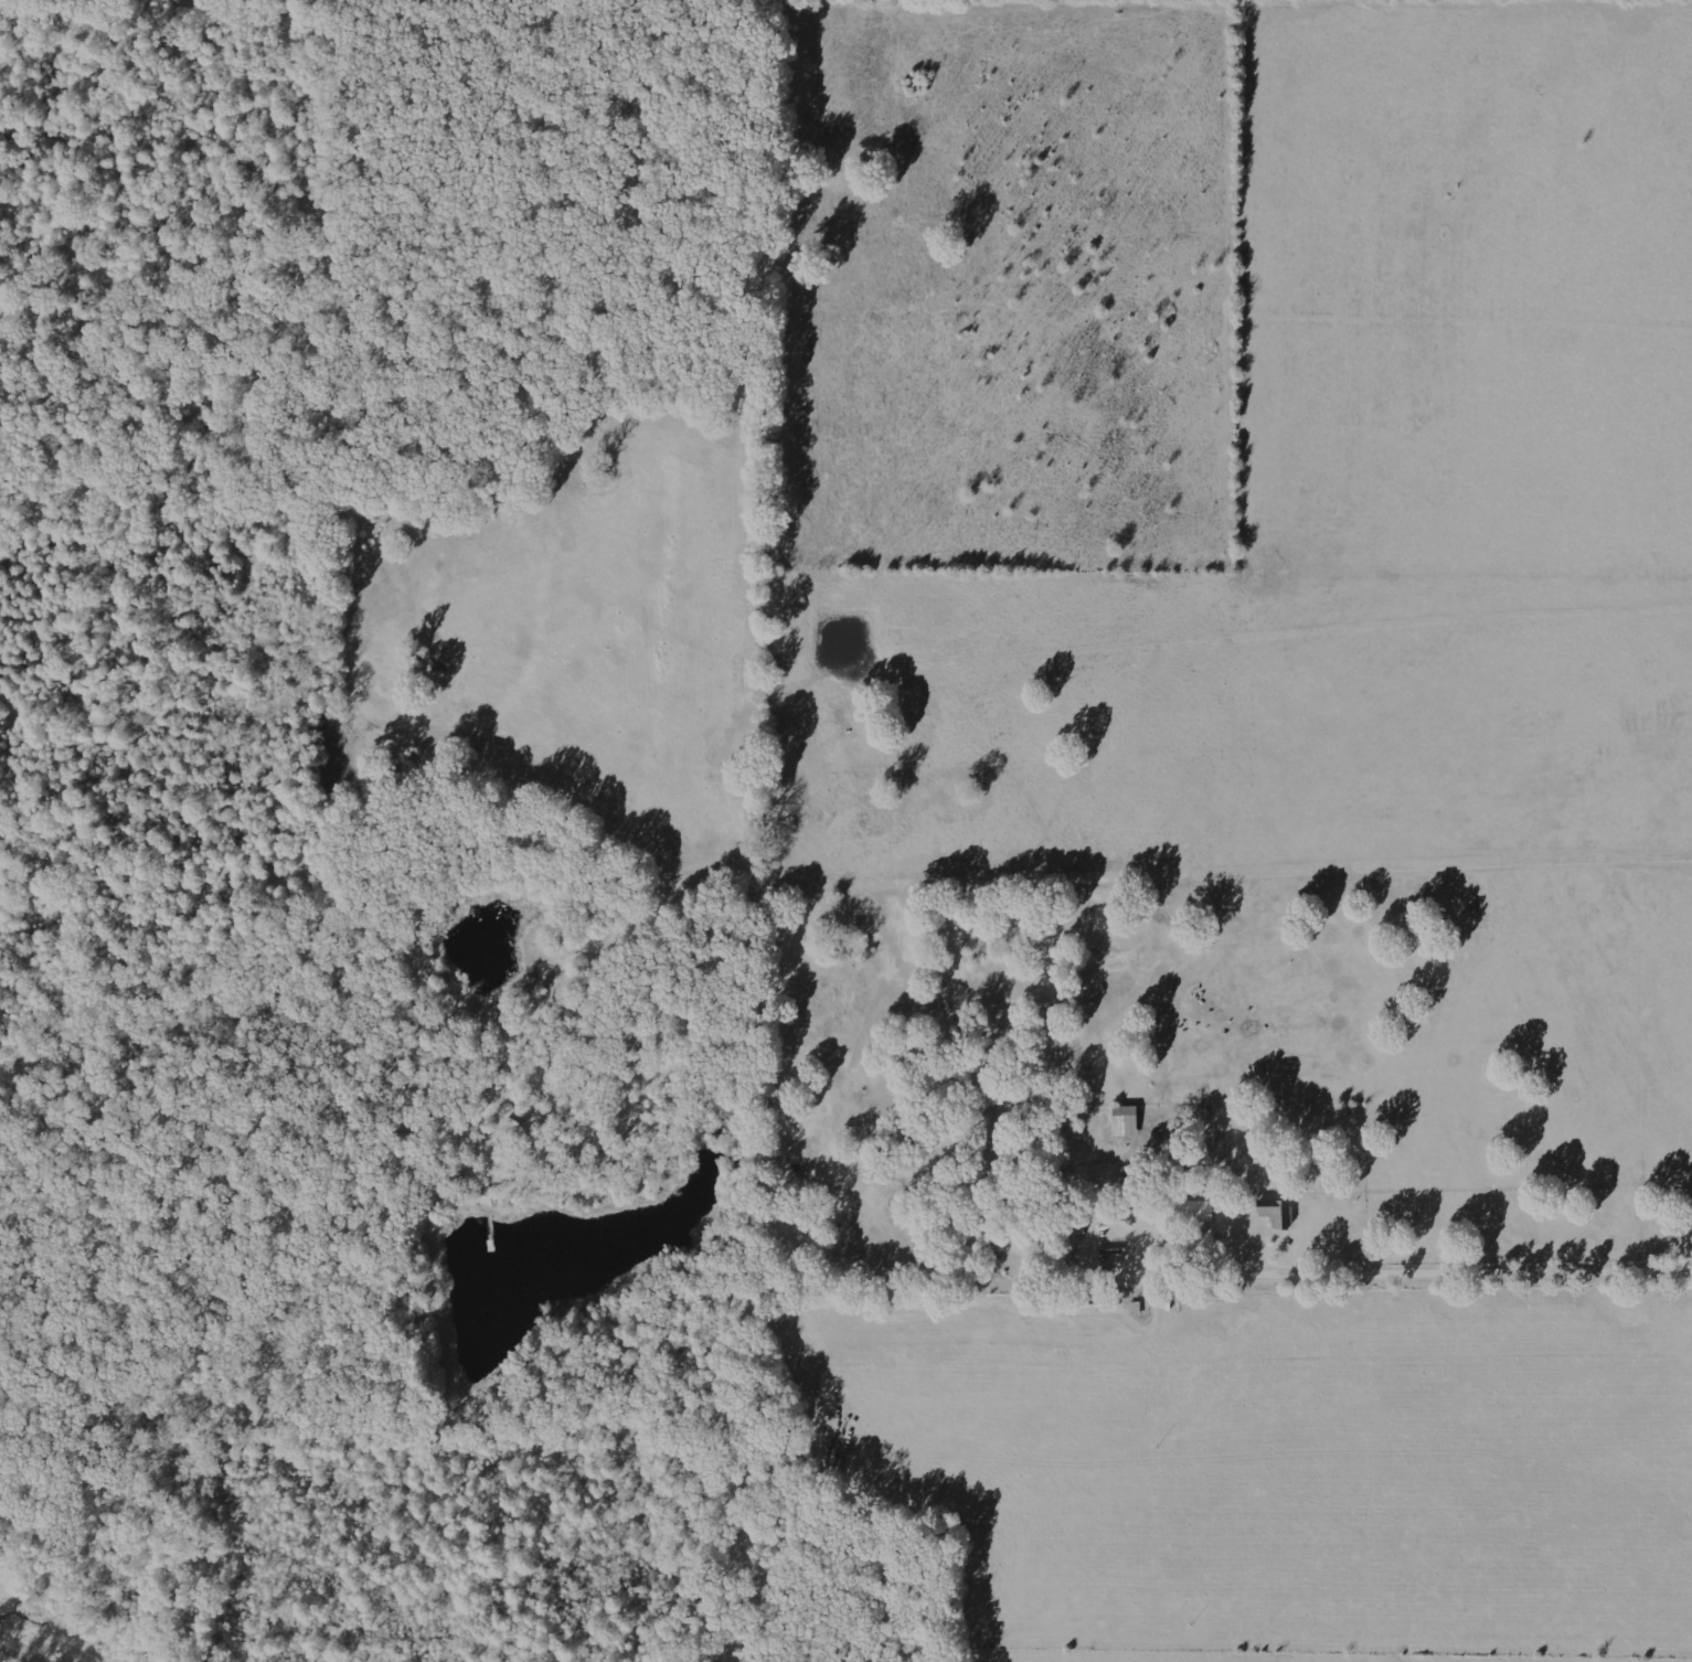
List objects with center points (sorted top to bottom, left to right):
road: (1055, 874)
building: (1128, 1121)
building: (1276, 1215)

